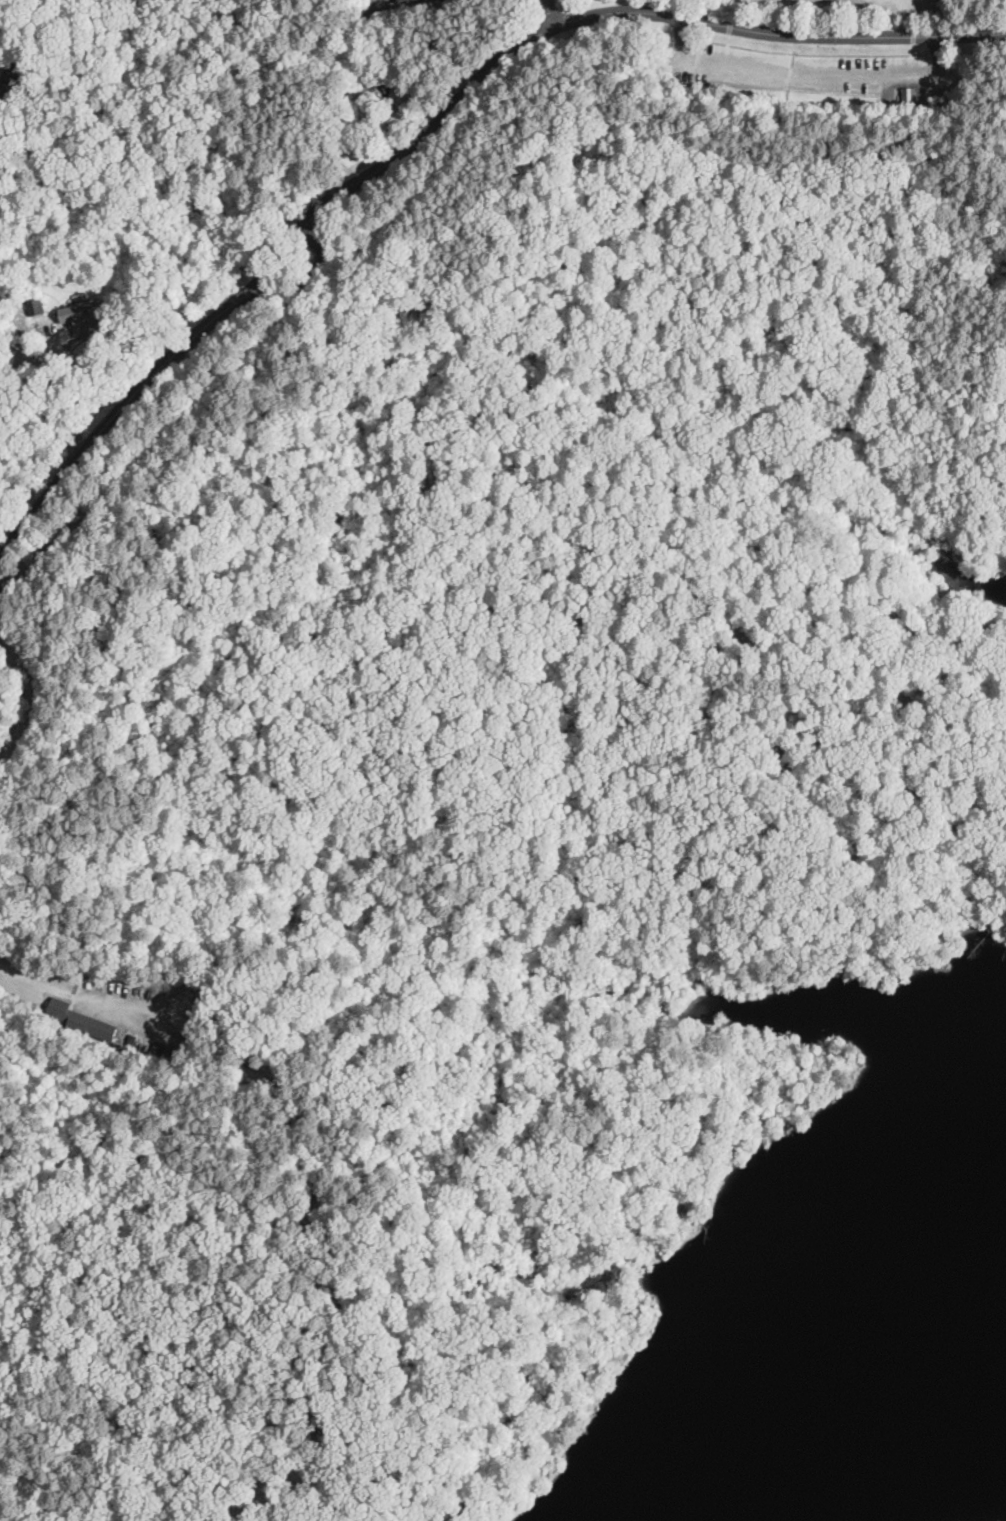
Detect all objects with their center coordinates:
building: (420, 1)
road: (549, 8)
road: (633, 11)
road: (1003, 32)
road: (1003, 34)
building: (12, 77)
road: (805, 77)
road: (289, 240)
road: (313, 242)
road: (316, 266)
building: (85, 316)
road: (58, 403)
road: (122, 420)
road: (750, 472)
road: (410, 587)
road: (29, 694)
park: (488, 728)
road: (774, 739)
road: (20, 982)
building: (83, 1021)
road: (706, 1067)

